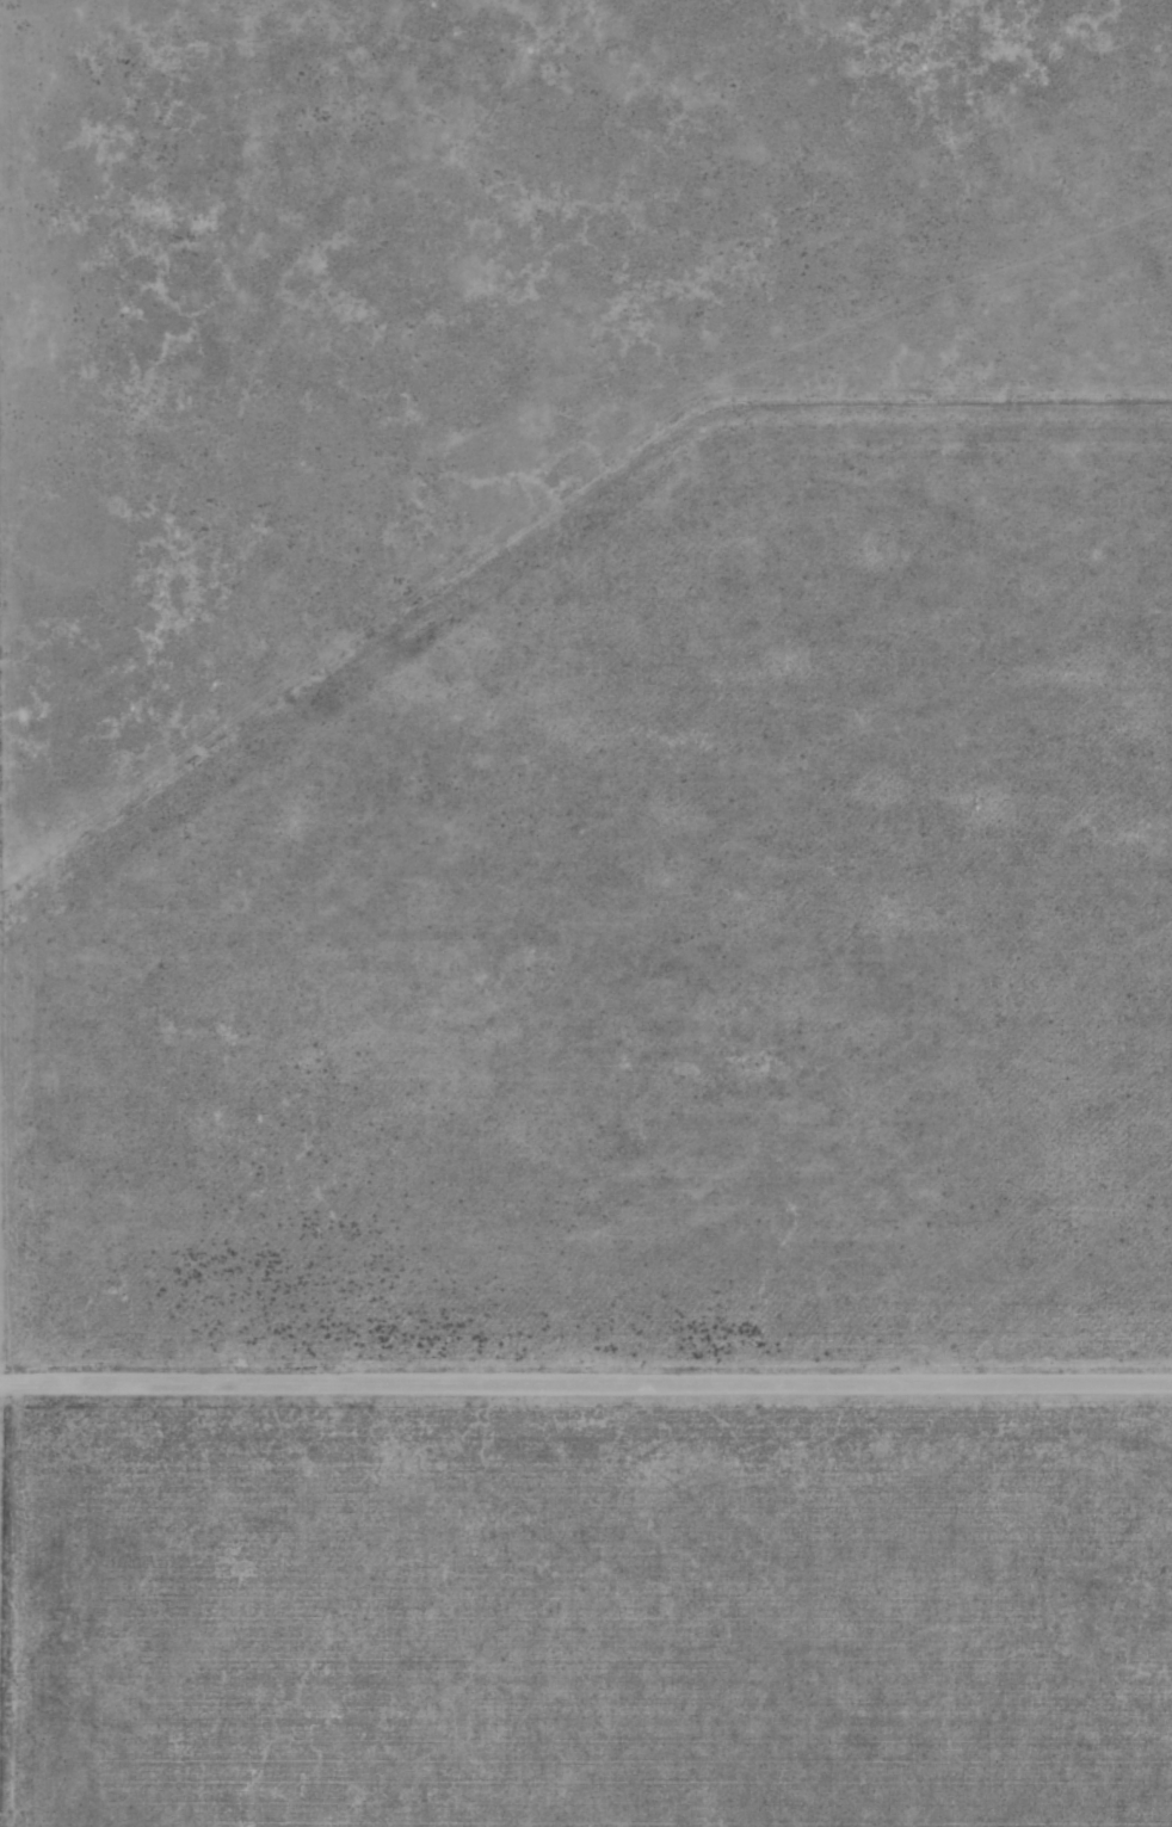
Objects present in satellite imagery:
road: (586, 1389)

